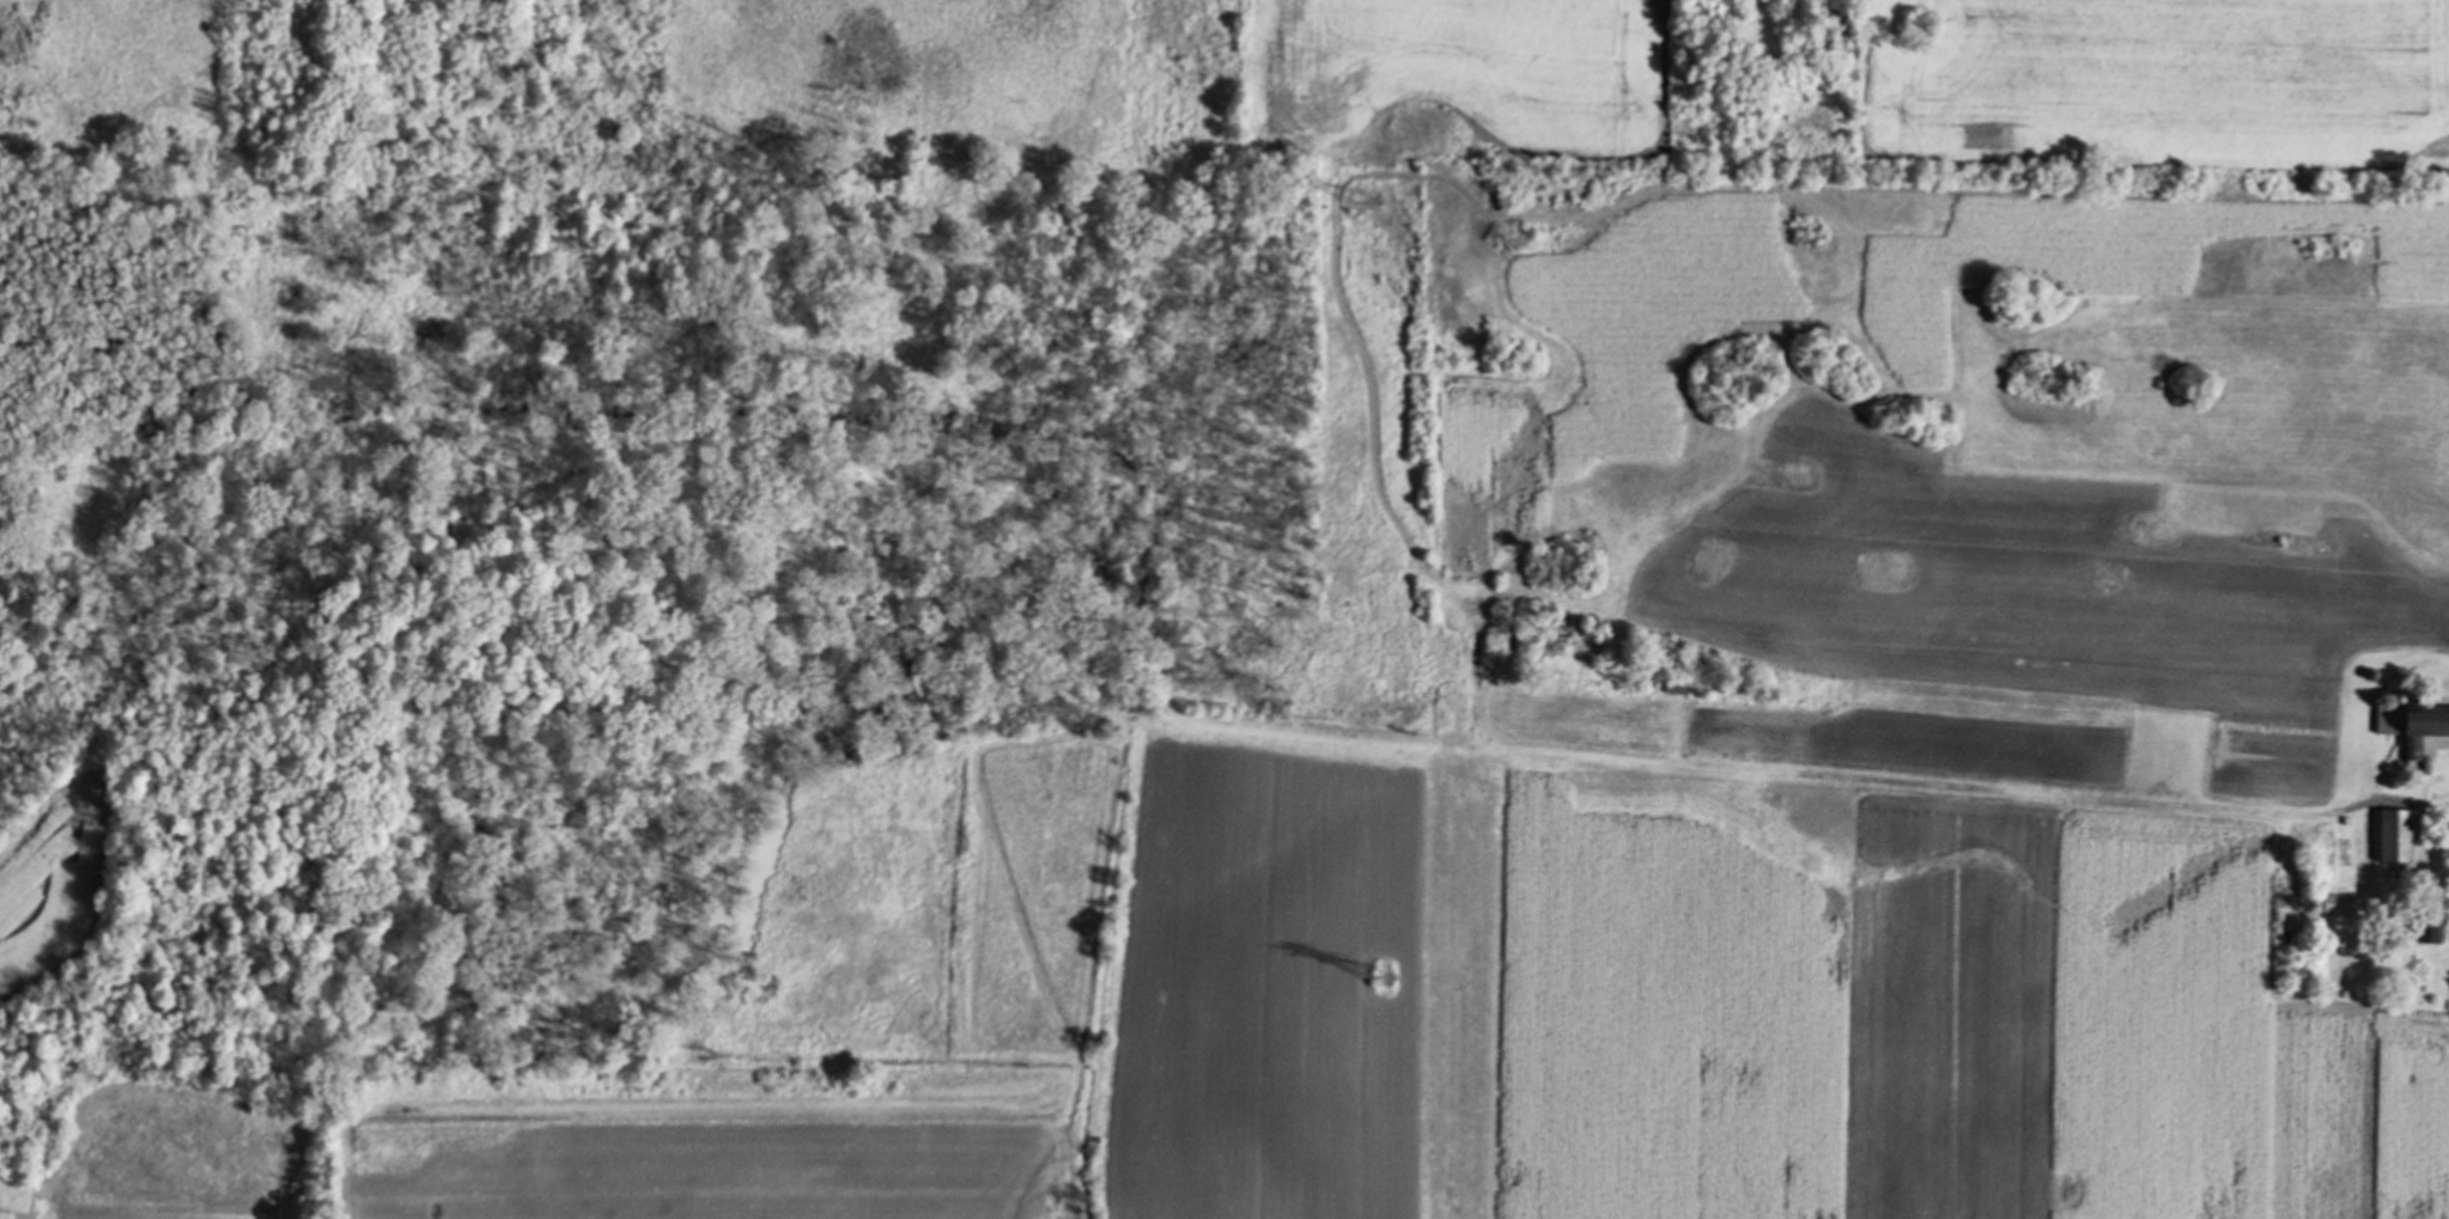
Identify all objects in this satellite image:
crop: (1481, 68)
power tower: (1369, 209)
crop: (1787, 718)
road: (2417, 819)
building: (2393, 835)
crop: (56, 877)
building: (2336, 903)
power tower: (1386, 983)
crop: (22, 1200)

